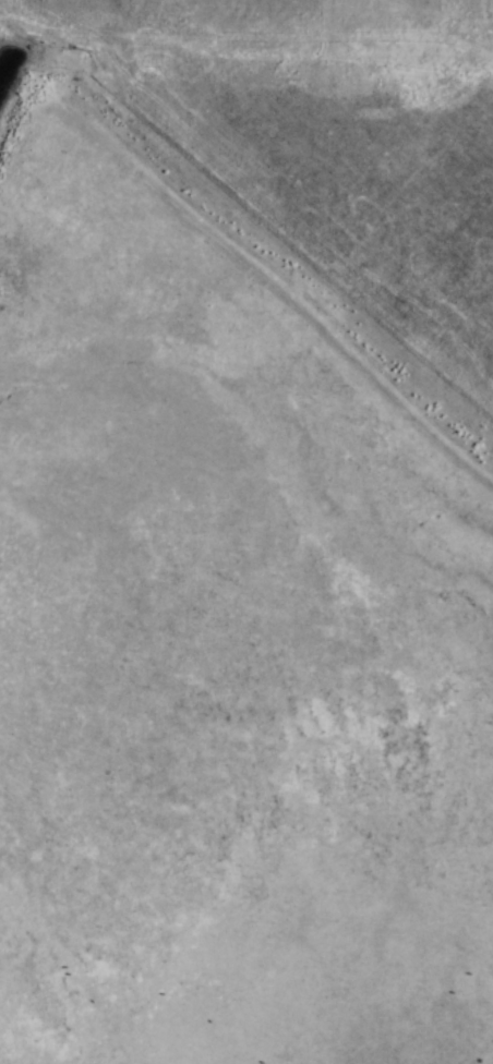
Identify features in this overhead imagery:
crop: (333, 32)
crop: (326, 169)

